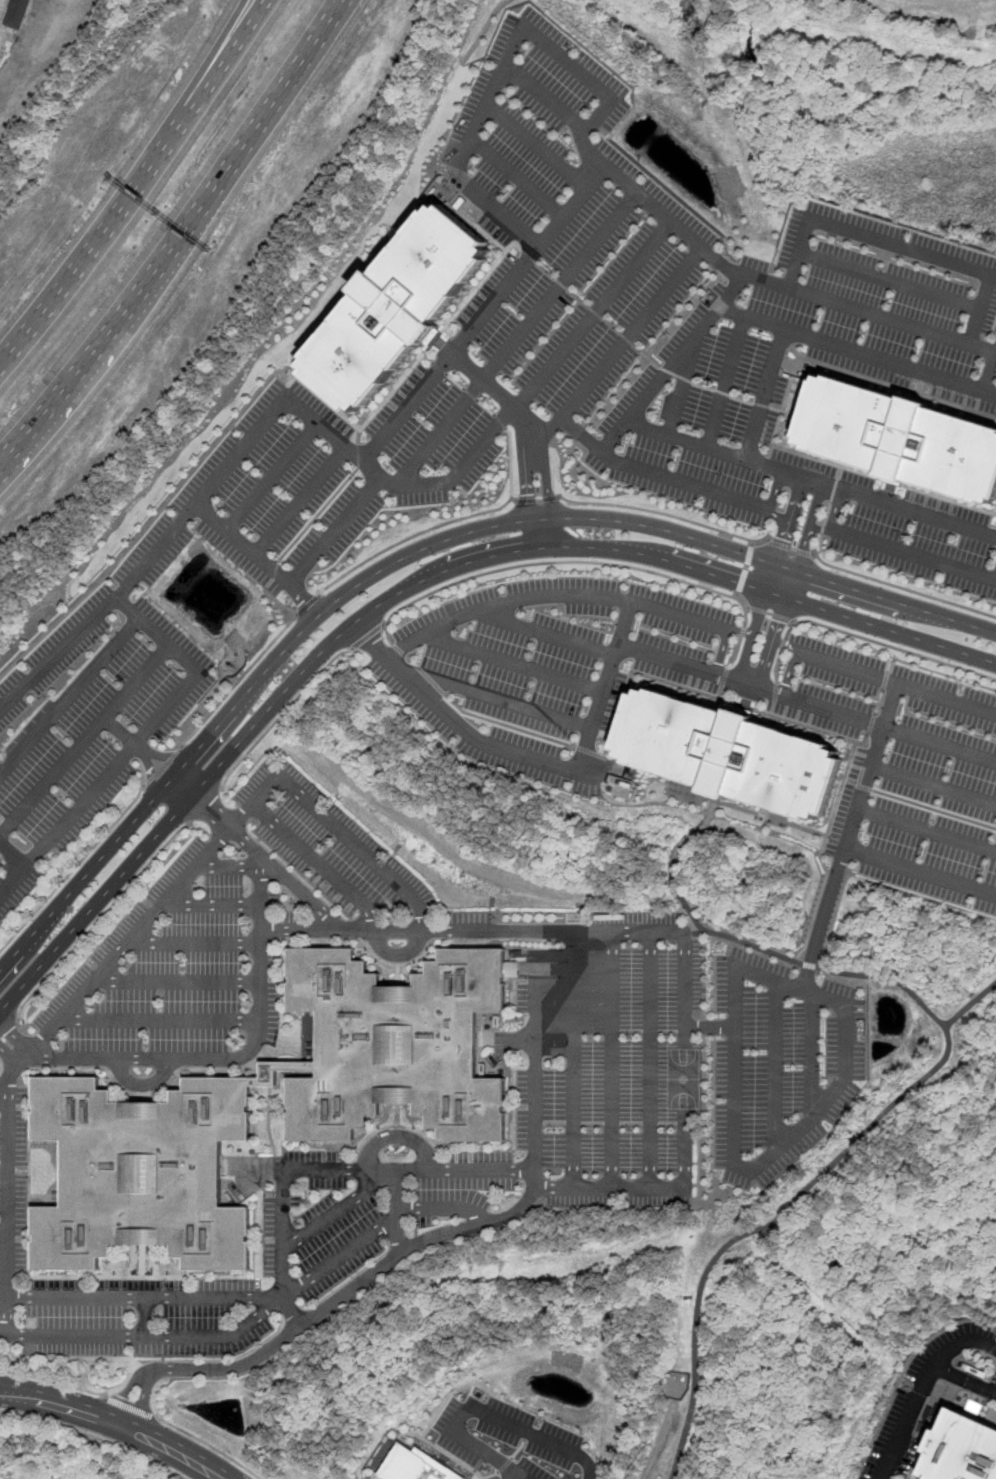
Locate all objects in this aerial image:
road: (1, 5)
road: (233, 34)
road: (274, 91)
road: (537, 145)
road: (134, 184)
road: (582, 192)
road: (485, 198)
parking lot: (565, 221)
road: (901, 243)
road: (525, 262)
road: (891, 281)
road: (732, 291)
road: (825, 302)
parking lot: (882, 303)
building: (397, 307)
road: (110, 322)
road: (518, 336)
road: (695, 337)
road: (615, 351)
road: (558, 356)
road: (988, 372)
road: (724, 379)
road: (683, 383)
road: (765, 393)
road: (500, 396)
road: (500, 421)
road: (547, 427)
building: (900, 438)
road: (703, 444)
parking lot: (771, 455)
road: (509, 463)
parking lot: (316, 479)
road: (812, 480)
road: (545, 483)
road: (525, 486)
road: (775, 491)
road: (538, 500)
road: (299, 501)
road: (836, 509)
road: (919, 513)
road: (666, 515)
road: (779, 515)
road: (211, 517)
road: (788, 520)
road: (809, 526)
road: (819, 530)
road: (541, 534)
road: (412, 537)
road: (820, 545)
road: (788, 548)
road: (419, 549)
road: (913, 555)
road: (257, 558)
road: (560, 564)
road: (745, 571)
road: (417, 581)
road: (783, 582)
road: (902, 588)
road: (302, 599)
road: (502, 602)
road: (309, 606)
road: (769, 614)
road: (620, 632)
road: (547, 635)
road: (751, 636)
road: (367, 638)
road: (69, 640)
road: (772, 643)
road: (782, 644)
road: (885, 644)
road: (718, 650)
road: (891, 659)
road: (515, 663)
road: (775, 666)
parking lot: (548, 668)
road: (788, 672)
road: (884, 677)
road: (885, 680)
road: (241, 682)
road: (70, 696)
road: (774, 699)
road: (506, 700)
road: (879, 702)
road: (599, 709)
road: (282, 716)
road: (457, 723)
parking lot: (86, 724)
road: (98, 724)
road: (877, 724)
road: (871, 725)
road: (120, 730)
road: (864, 742)
road: (162, 754)
building: (730, 754)
road: (112, 766)
road: (161, 768)
road: (147, 769)
parking lot: (905, 769)
road: (860, 785)
road: (932, 786)
road: (206, 807)
road: (935, 808)
road: (766, 816)
road: (926, 828)
road: (225, 834)
road: (846, 840)
road: (13, 851)
road: (258, 852)
road: (823, 861)
road: (262, 862)
road: (318, 862)
road: (74, 868)
road: (211, 904)
road: (688, 909)
road: (822, 917)
road: (102, 918)
road: (301, 928)
parking lot: (231, 933)
road: (194, 942)
road: (398, 955)
road: (686, 960)
road: (809, 965)
road: (890, 978)
road: (789, 980)
road: (176, 982)
road: (970, 1005)
road: (160, 1020)
road: (709, 1026)
road: (9, 1027)
road: (257, 1041)
road: (809, 1052)
road: (573, 1057)
road: (23, 1058)
road: (611, 1058)
road: (650, 1058)
road: (774, 1063)
parking lot: (780, 1064)
road: (538, 1067)
parking lot: (612, 1067)
road: (144, 1082)
building: (143, 1111)
road: (791, 1130)
road: (394, 1134)
road: (382, 1169)
road: (376, 1185)
parking lot: (12, 1199)
road: (9, 1202)
parking lot: (364, 1207)
road: (760, 1228)
road: (281, 1249)
road: (144, 1297)
road: (324, 1308)
road: (257, 1315)
parking lot: (139, 1317)
road: (145, 1318)
parking lot: (961, 1360)
road: (966, 1378)
road: (50, 1381)
road: (924, 1390)
road: (444, 1405)
road: (127, 1406)
road: (484, 1412)
road: (116, 1421)
parking lot: (900, 1435)
road: (526, 1436)
road: (95, 1438)
parking lot: (512, 1442)
road: (208, 1444)
road: (658, 1448)
road: (441, 1449)
road: (518, 1449)
building: (961, 1449)
building: (417, 1465)
road: (505, 1465)
road: (375, 1474)
road: (491, 1475)
road: (519, 1475)

